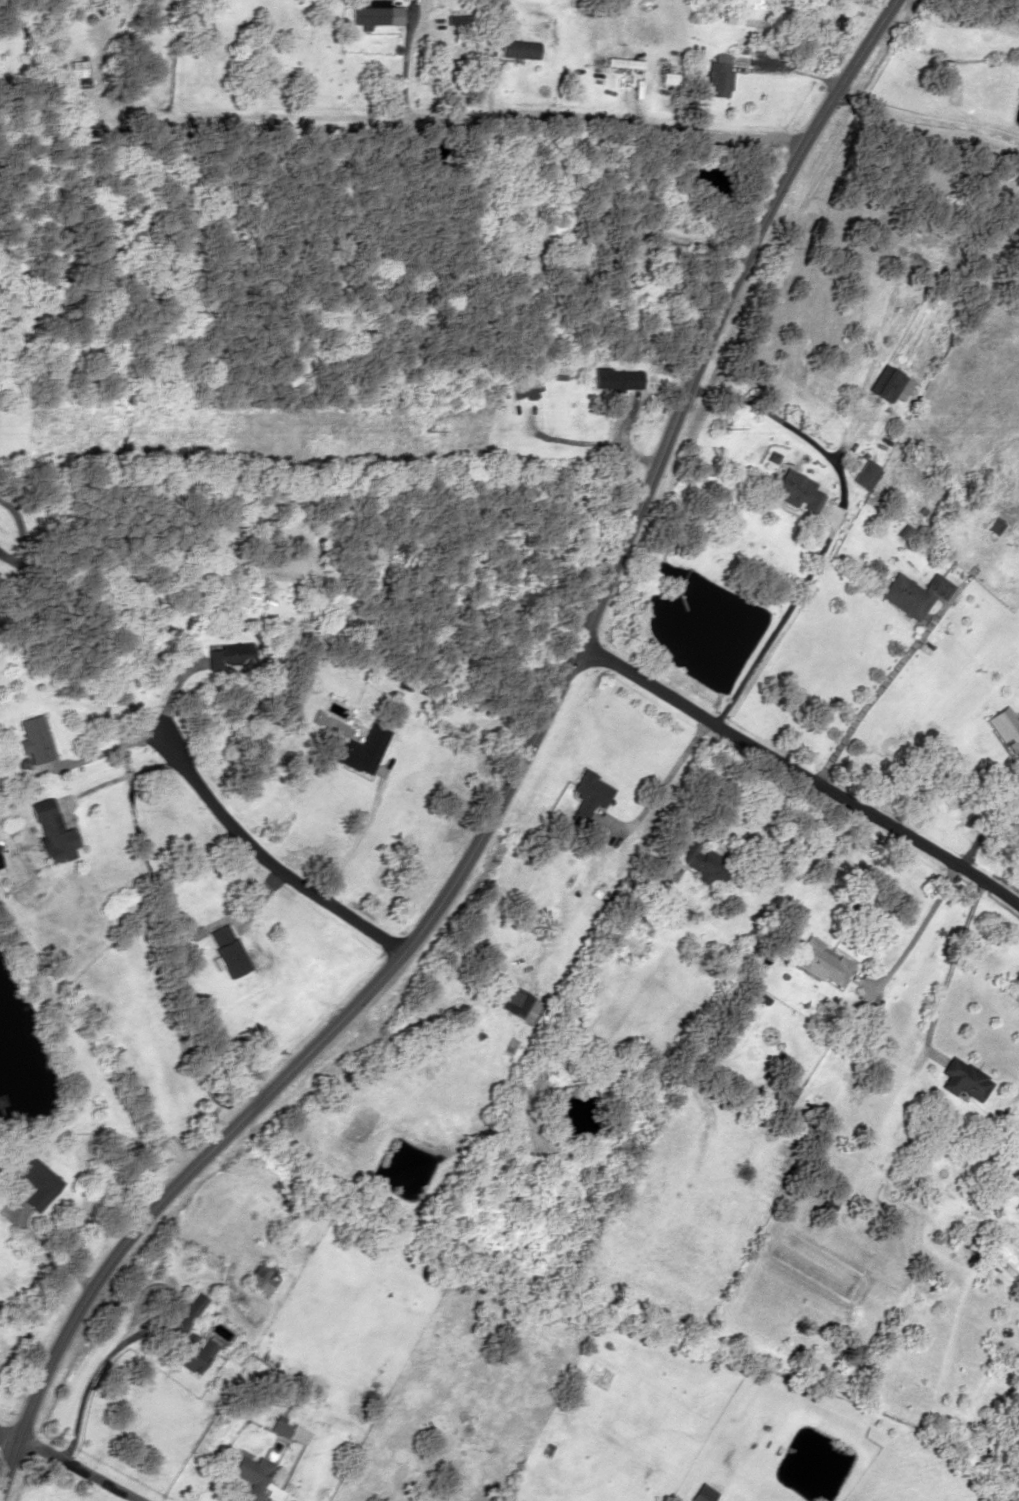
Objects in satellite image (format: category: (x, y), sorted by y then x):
building: (374, 14)
building: (519, 49)
building: (625, 63)
building: (78, 68)
building: (719, 74)
road: (529, 115)
building: (617, 378)
building: (889, 383)
building: (524, 386)
building: (863, 474)
building: (796, 491)
building: (912, 594)
building: (227, 655)
building: (1006, 730)
building: (35, 739)
building: (355, 754)
road: (799, 774)
road: (509, 786)
building: (586, 805)
building: (53, 832)
road: (265, 857)
building: (703, 863)
building: (229, 950)
building: (821, 962)
building: (519, 1004)
building: (962, 1079)
building: (784, 1094)
building: (524, 1175)
building: (35, 1183)
building: (970, 1241)
building: (262, 1277)
building: (183, 1318)
building: (192, 1353)
building: (289, 1431)
road: (7, 1439)
road: (77, 1469)
building: (251, 1476)
building: (702, 1494)

